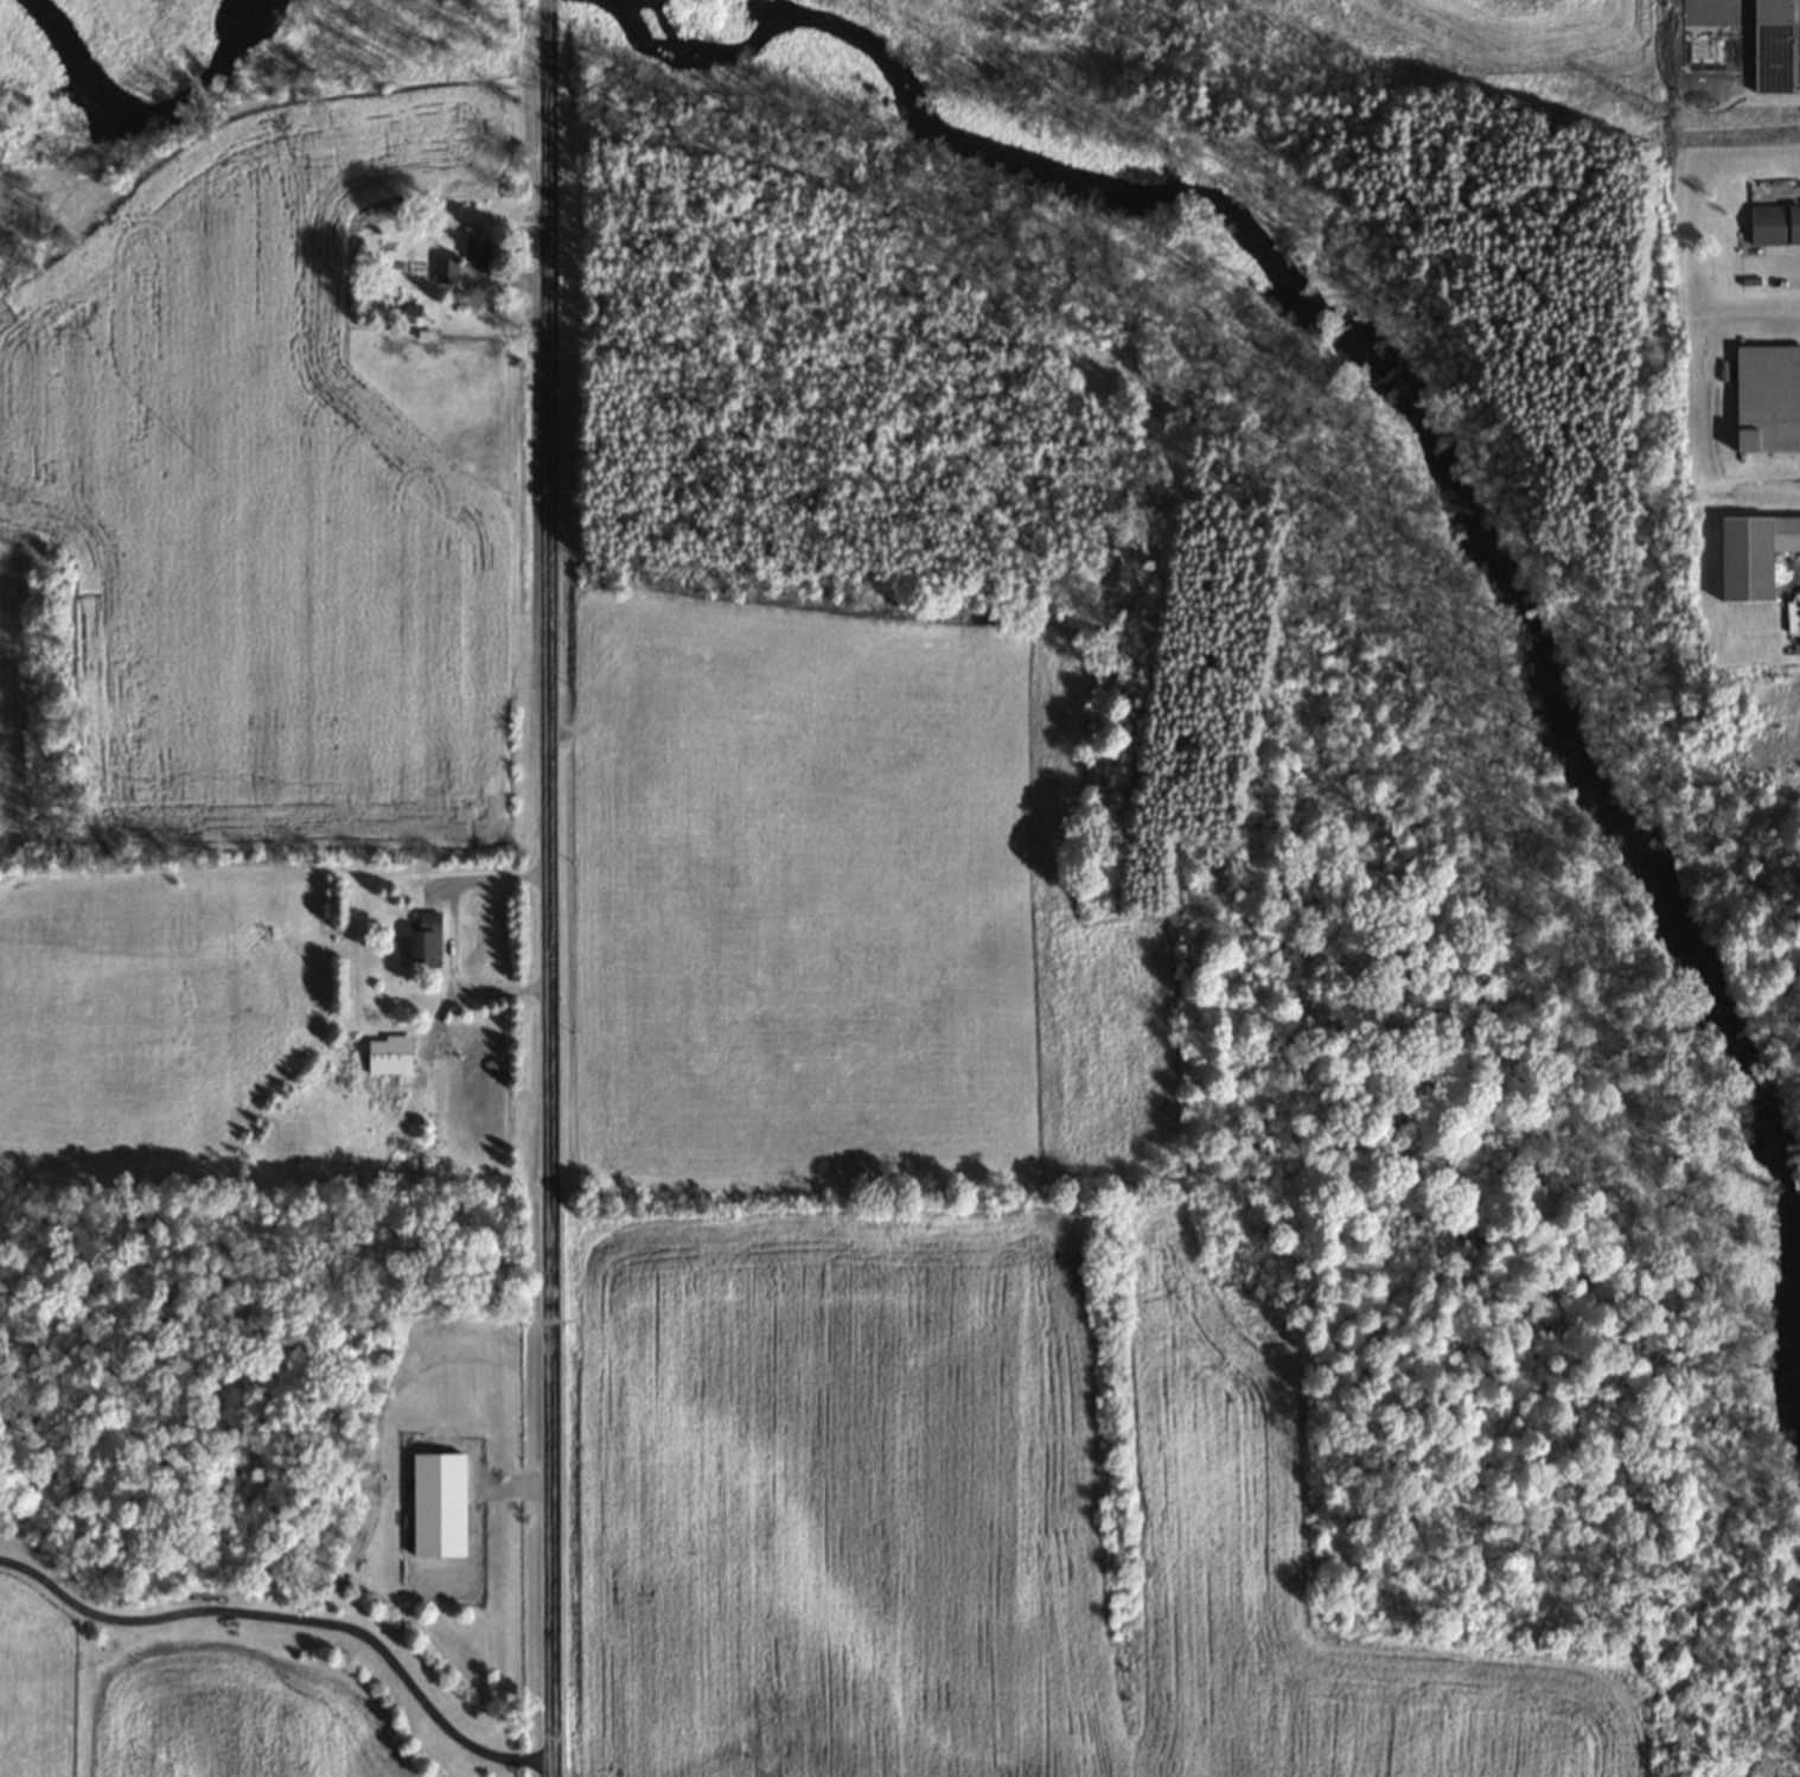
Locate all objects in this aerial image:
building: (1775, 46)
river: (165, 100)
power tower: (1652, 108)
building: (1774, 223)
building: (475, 249)
building: (446, 269)
building: (1767, 399)
river: (1441, 409)
building: (1751, 553)
road: (549, 887)
building: (423, 940)
building: (388, 1055)
road: (291, 1614)

